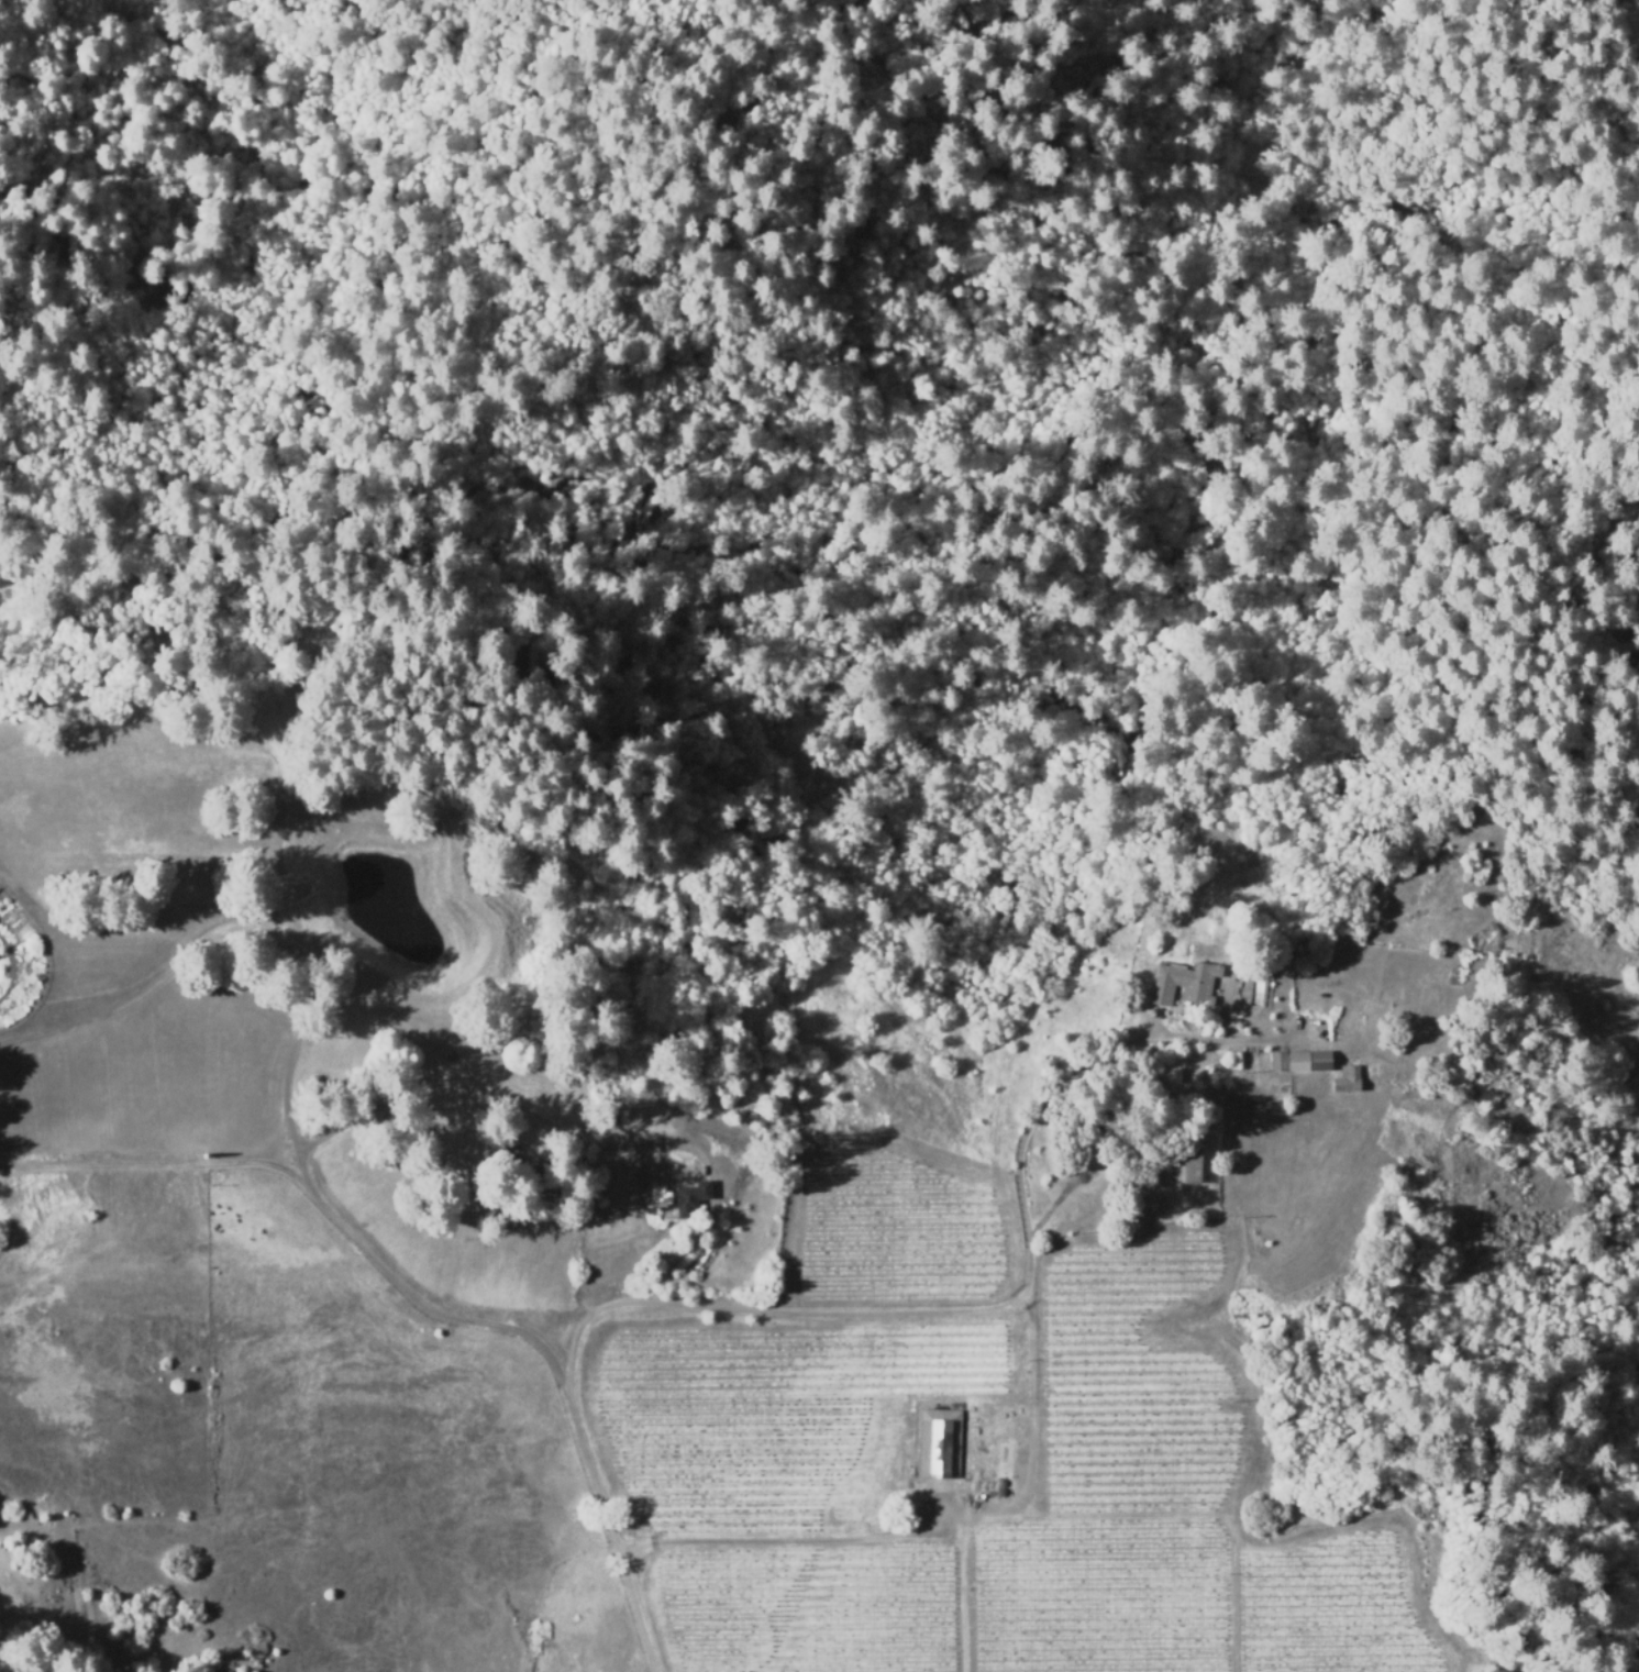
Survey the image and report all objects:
building: (1184, 984)
building: (1299, 1063)
building: (1347, 1081)
road: (489, 1093)
building: (1094, 1126)
road: (169, 1165)
building: (1186, 1165)
building: (689, 1199)
road: (866, 1316)
road: (487, 1329)
building: (939, 1444)
building: (909, 1470)
building: (1005, 1473)
road: (801, 1541)

